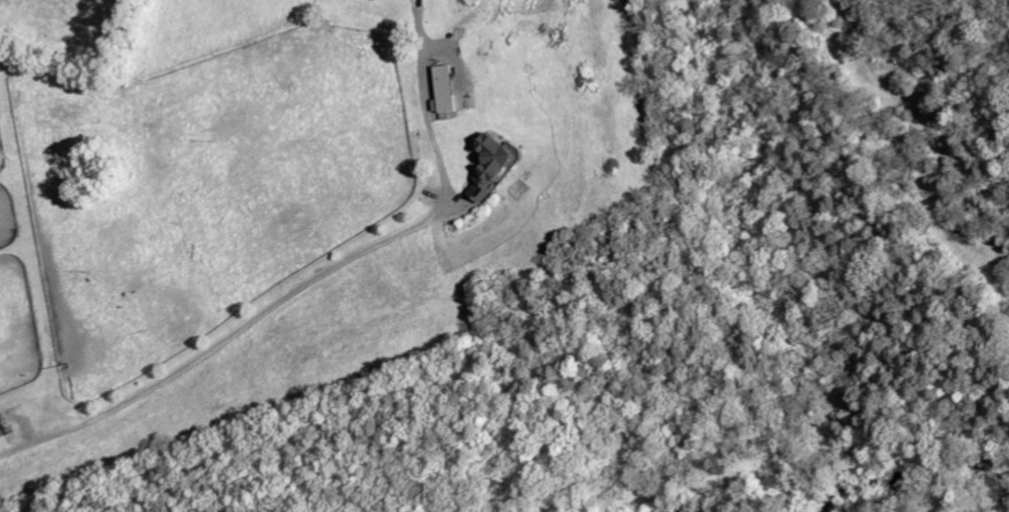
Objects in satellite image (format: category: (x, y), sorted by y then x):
building: (448, 89)
building: (495, 166)
road: (315, 280)
building: (4, 427)

